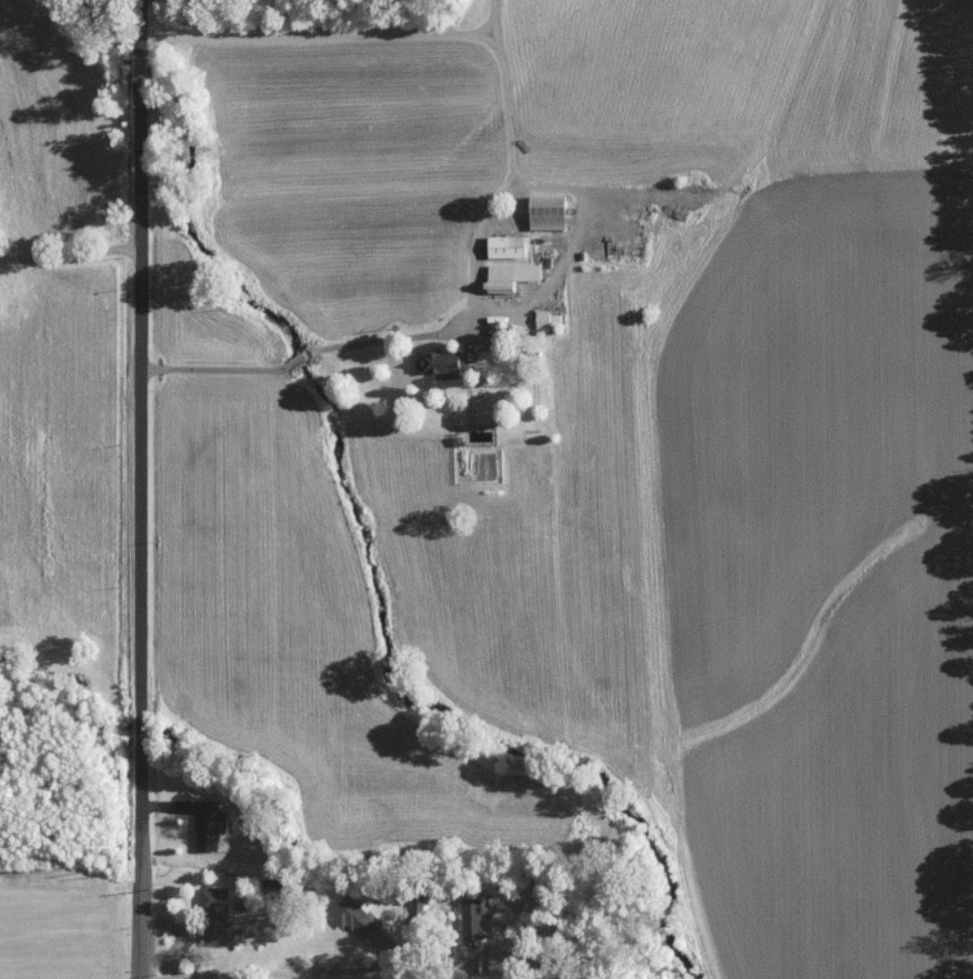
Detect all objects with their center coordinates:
road: (496, 21)
road: (138, 26)
road: (139, 68)
road: (507, 91)
building: (549, 212)
building: (508, 246)
road: (67, 256)
building: (511, 276)
building: (543, 320)
road: (300, 361)
building: (443, 363)
road: (213, 373)
road: (137, 421)
building: (210, 826)
road: (138, 870)
building: (417, 909)
building: (215, 915)
building: (355, 917)
building: (473, 919)
building: (497, 964)
road: (277, 973)

